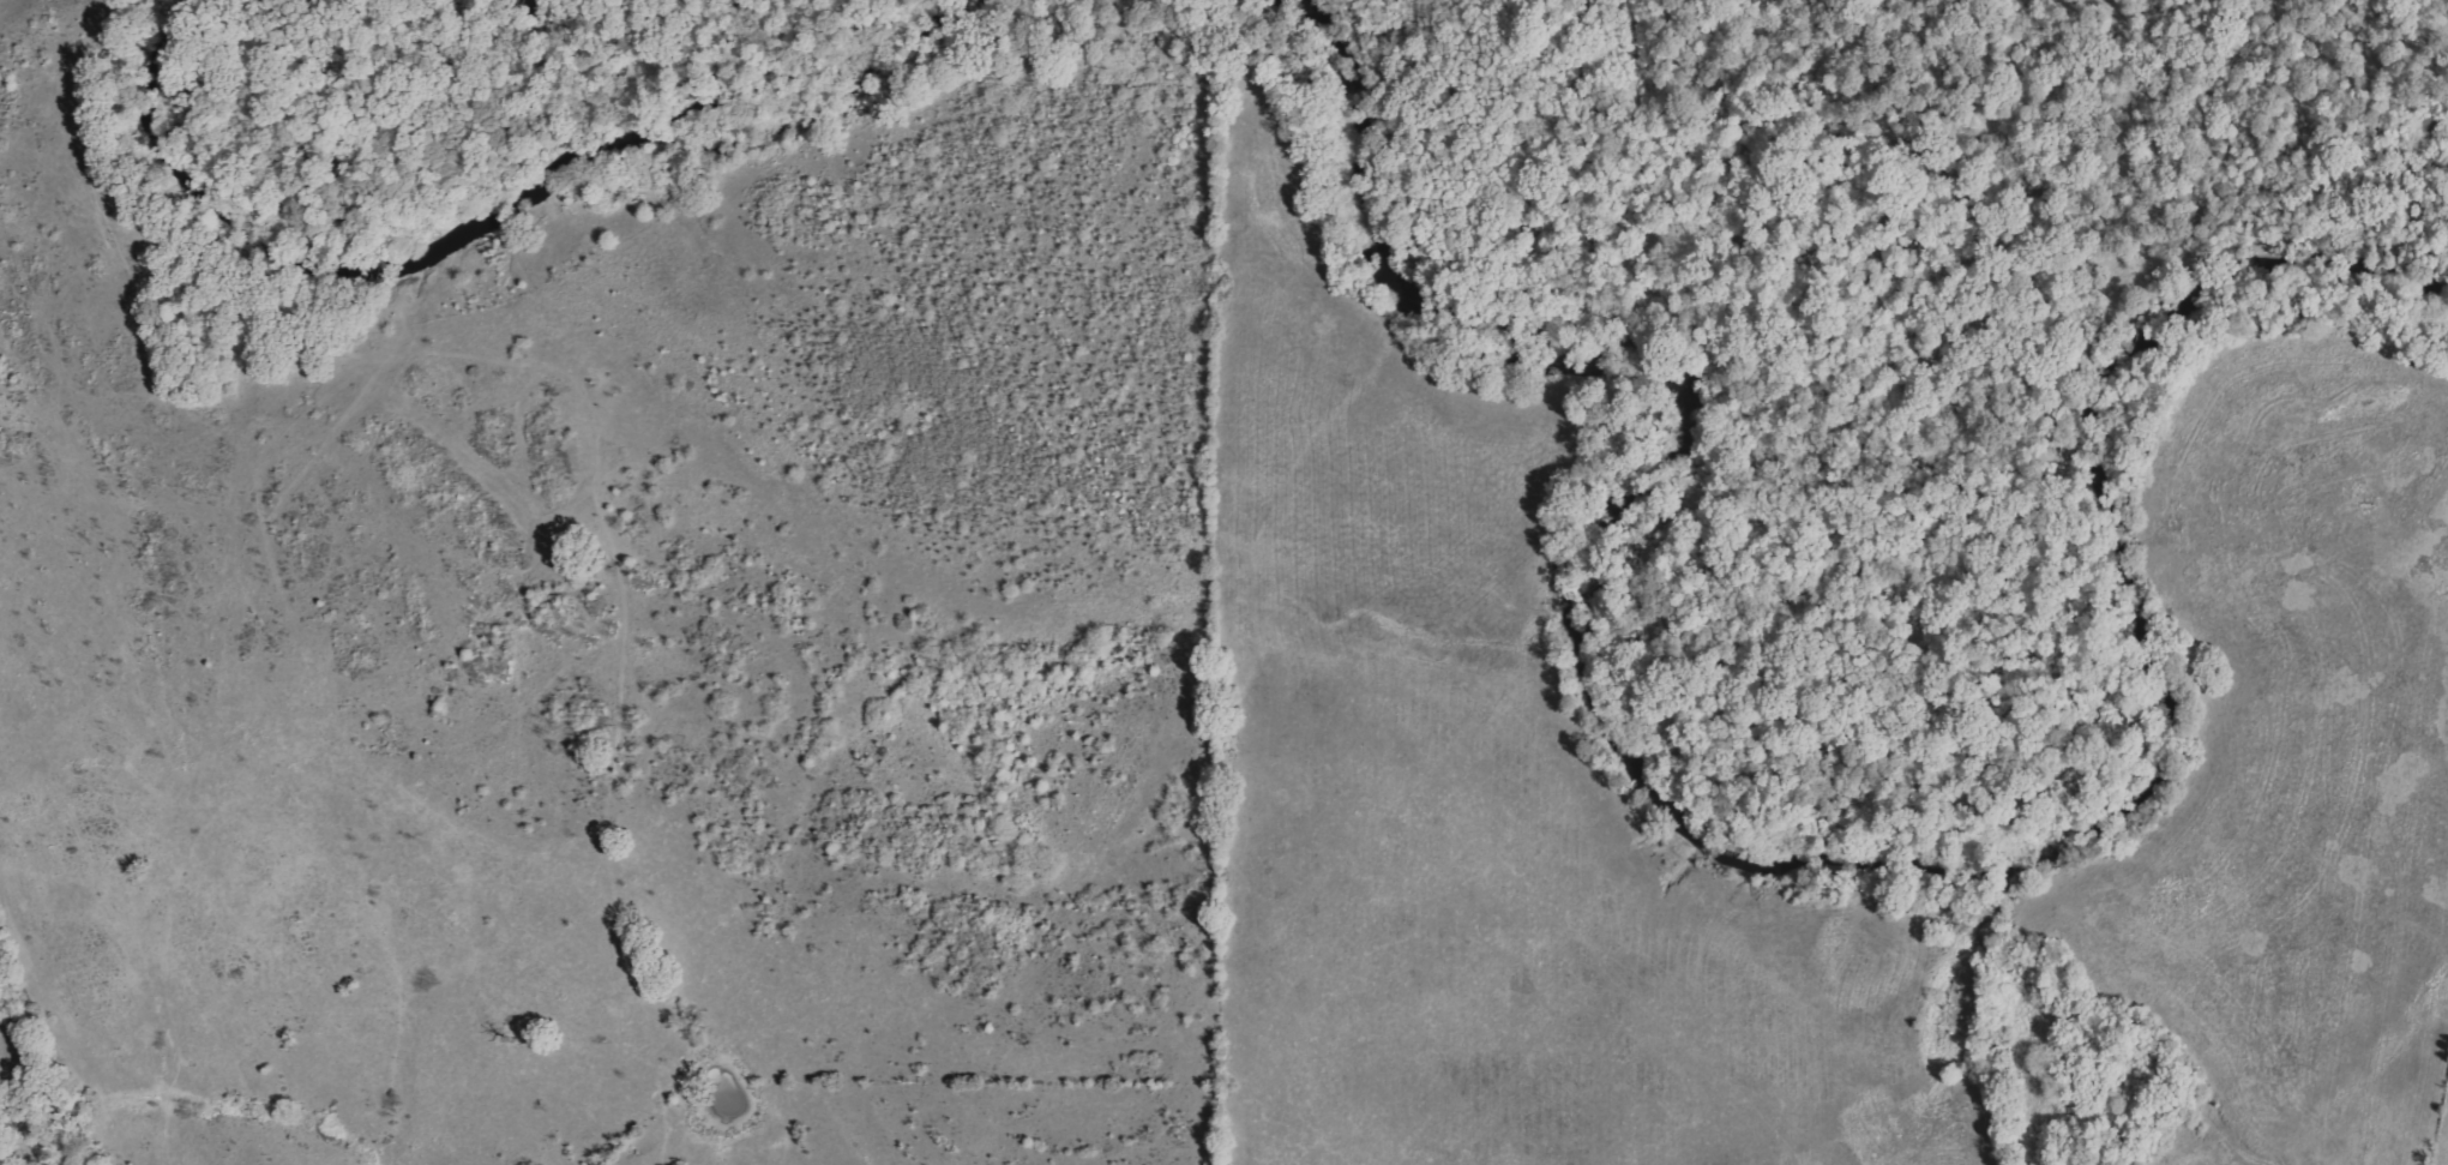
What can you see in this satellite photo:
river: (468, 226)
river: (1767, 858)

